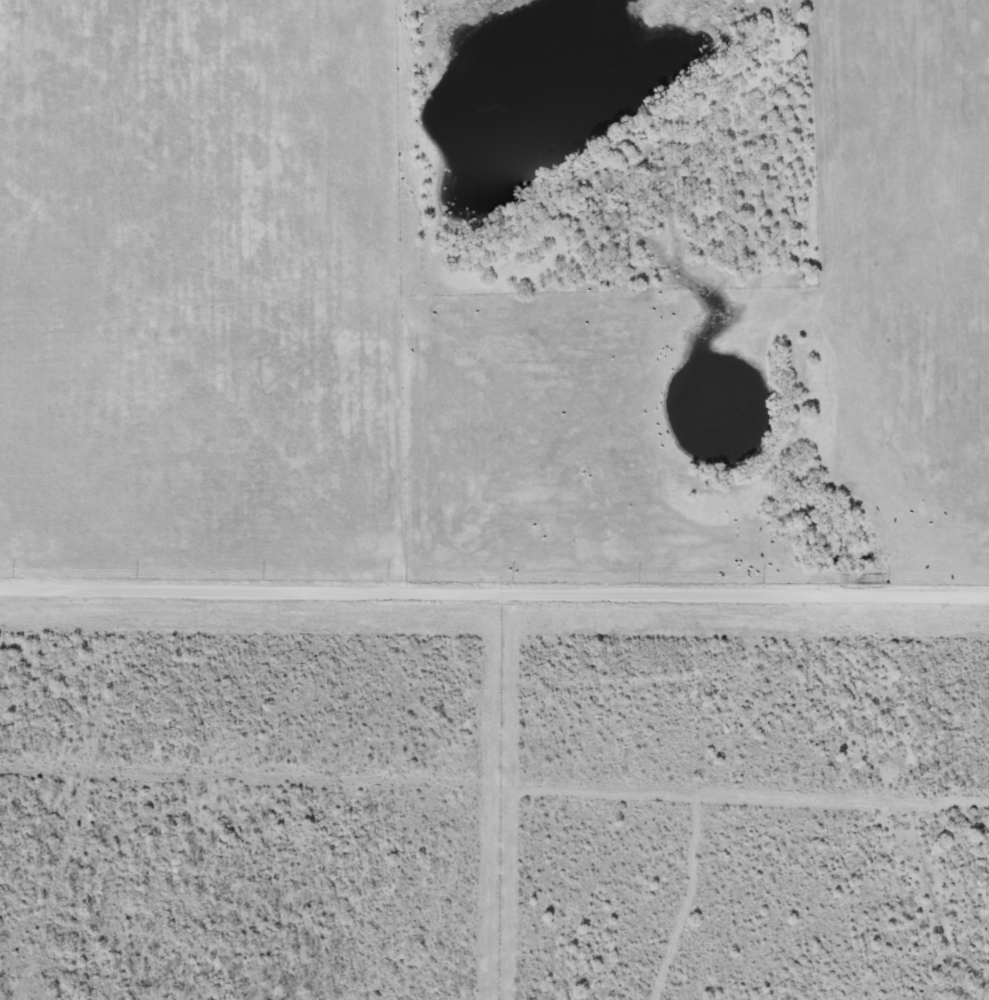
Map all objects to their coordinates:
road: (494, 584)

